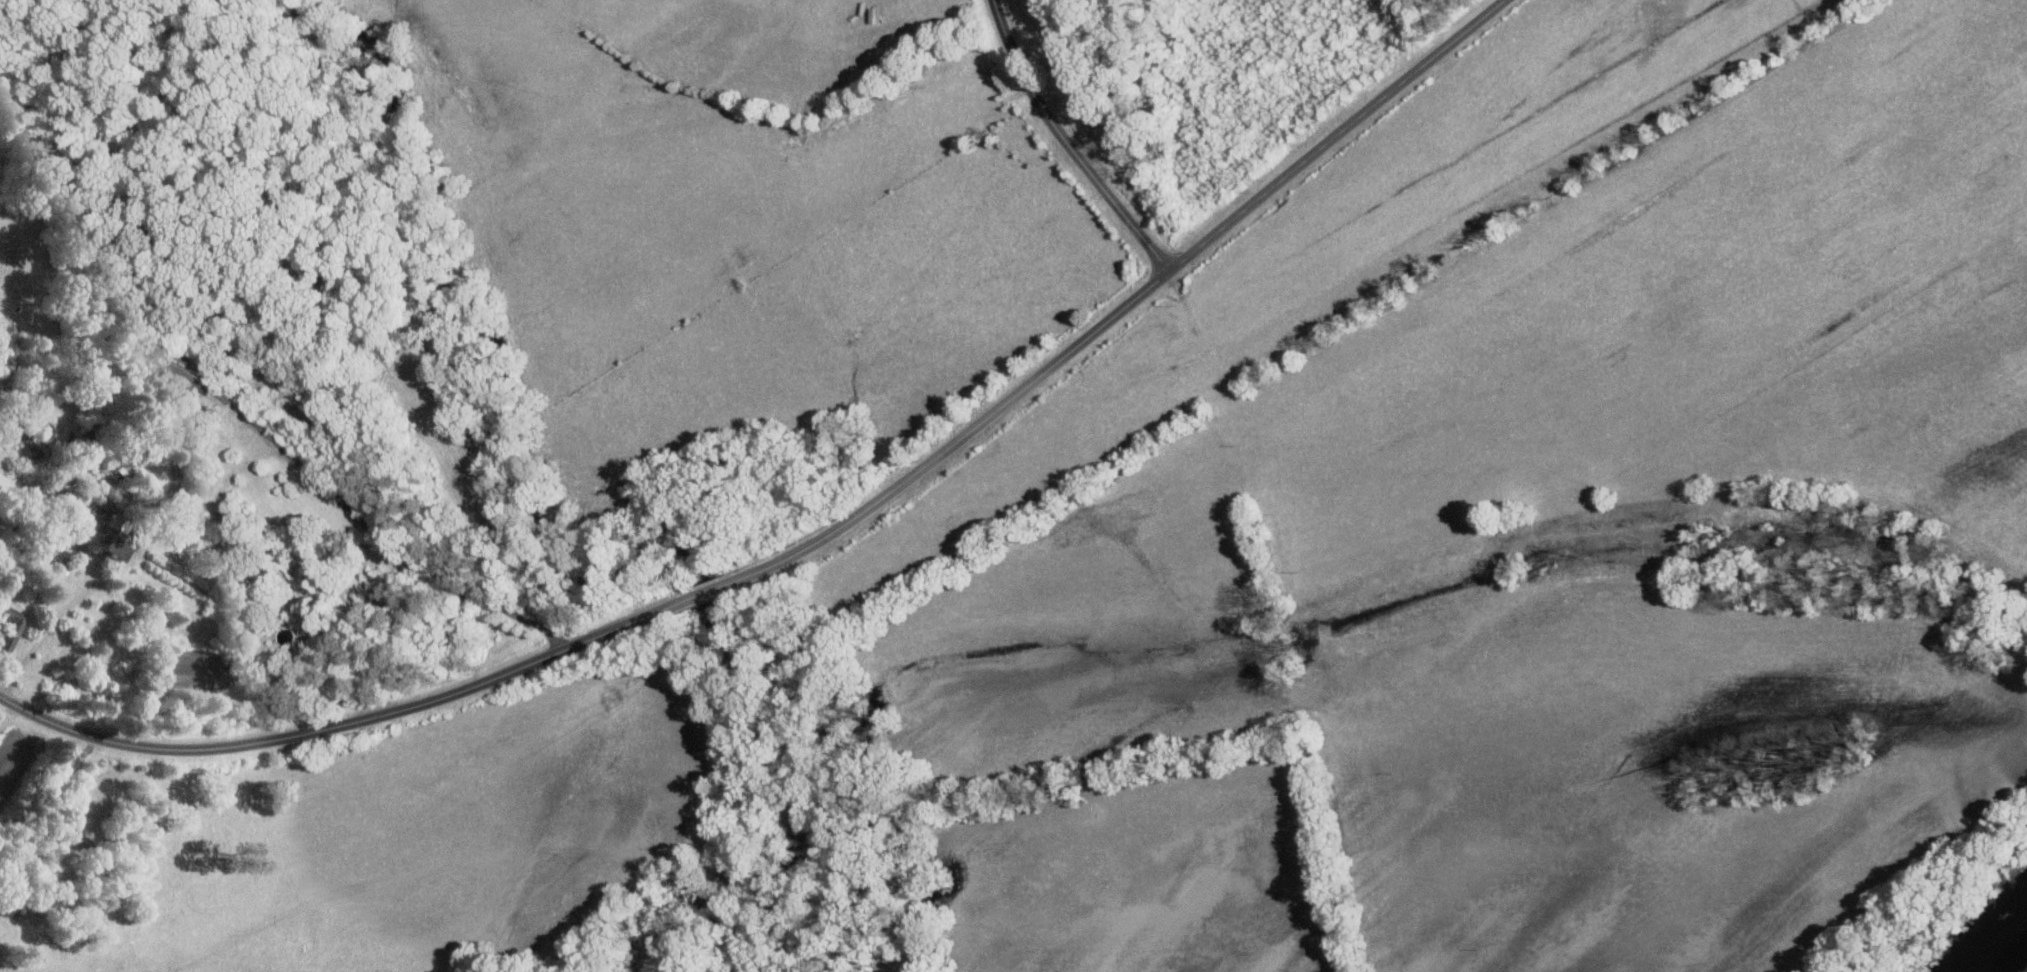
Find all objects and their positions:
road: (1068, 141)
road: (1129, 300)
road: (420, 429)
building: (103, 530)
road: (713, 588)
road: (57, 615)
building: (11, 625)
road: (346, 722)
river: (1990, 940)

